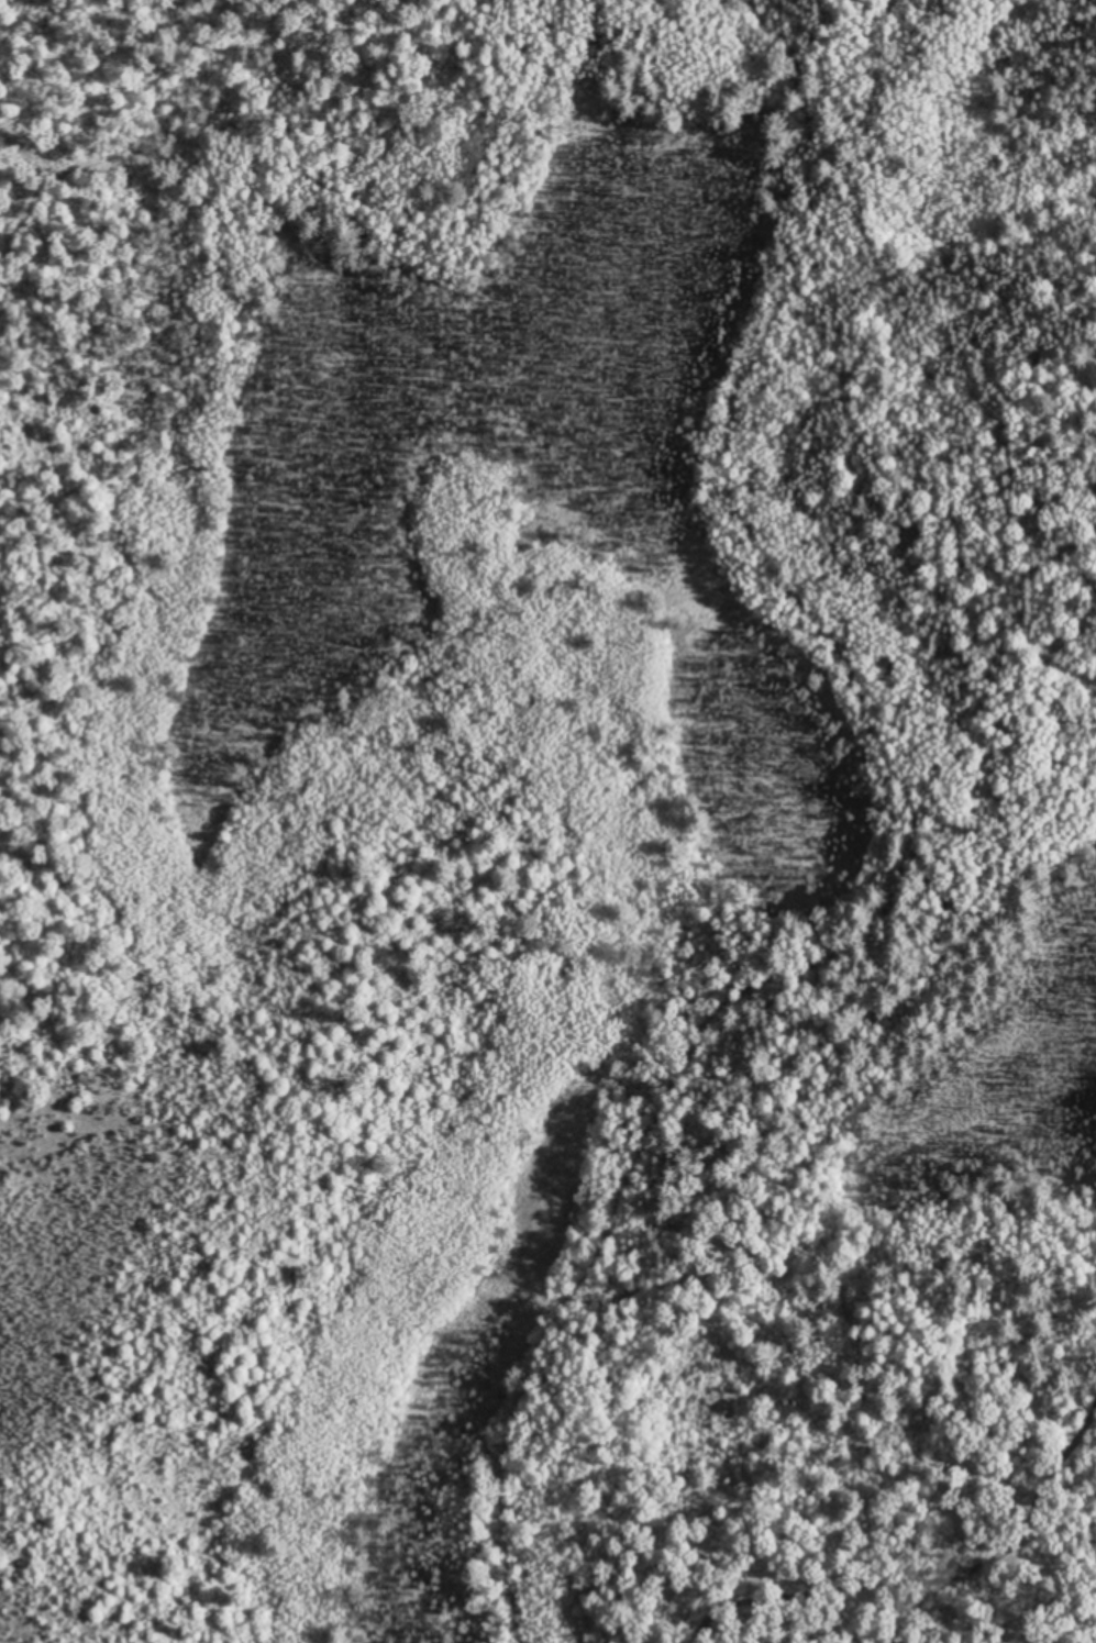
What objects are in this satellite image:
road: (305, 149)
road: (889, 873)
road: (1022, 1516)

